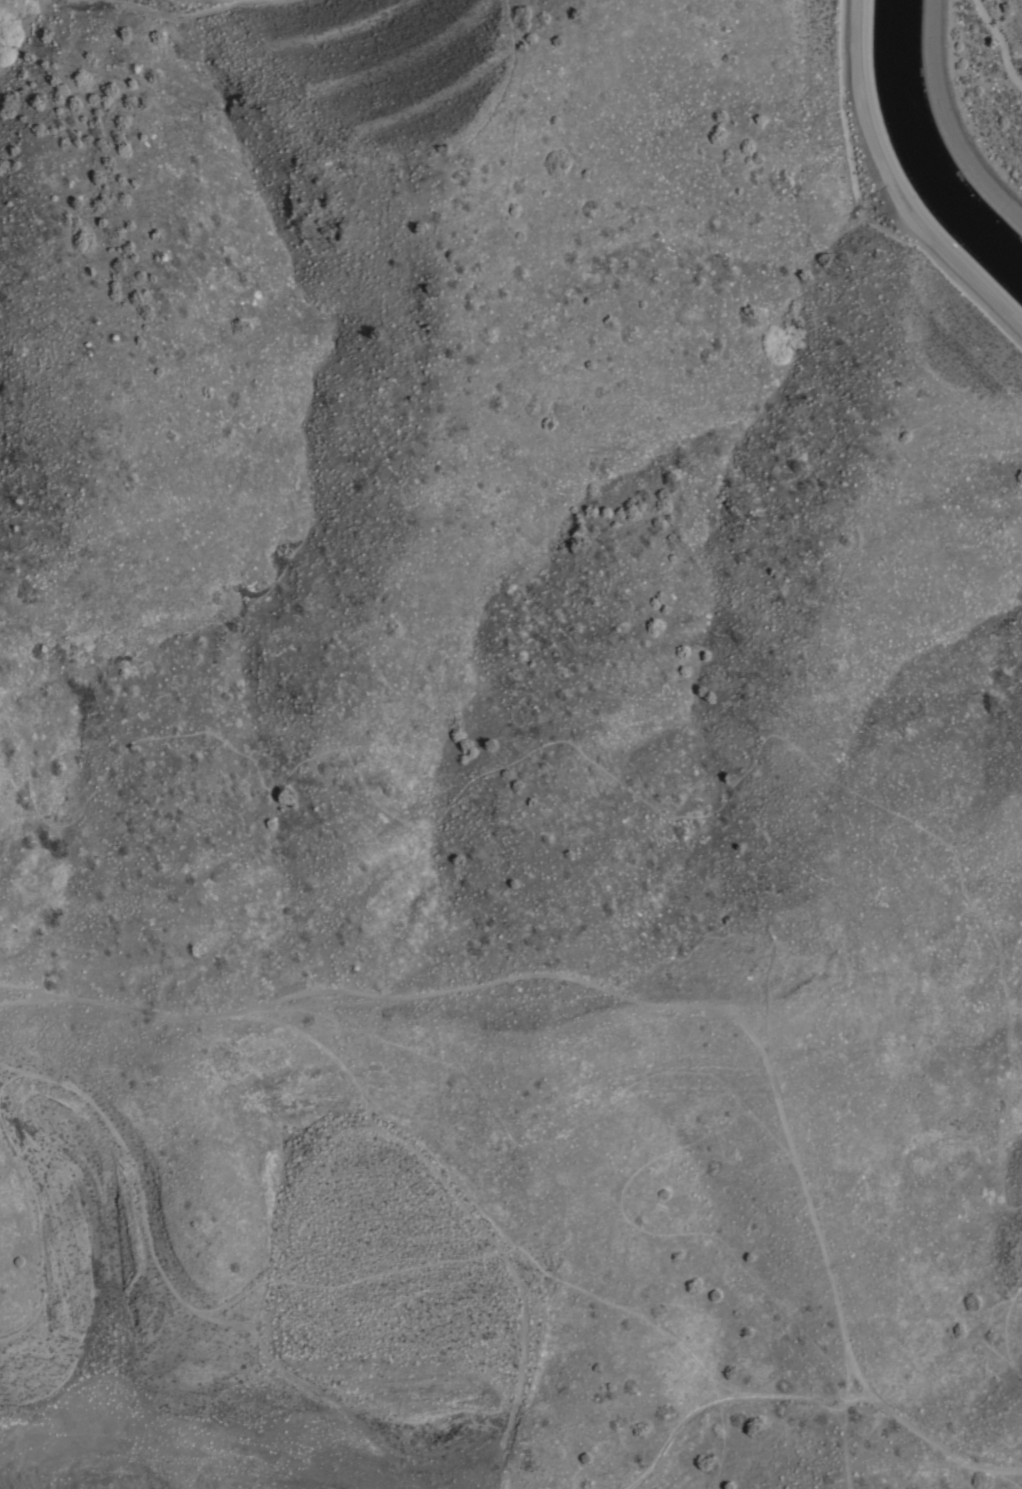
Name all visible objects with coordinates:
road: (954, 117)
road: (893, 187)
road: (605, 774)
road: (15, 991)
road: (670, 994)
road: (344, 1144)
road: (46, 1239)
road: (378, 1273)
road: (1008, 1331)
road: (514, 1372)
road: (717, 1396)
road: (852, 1442)

